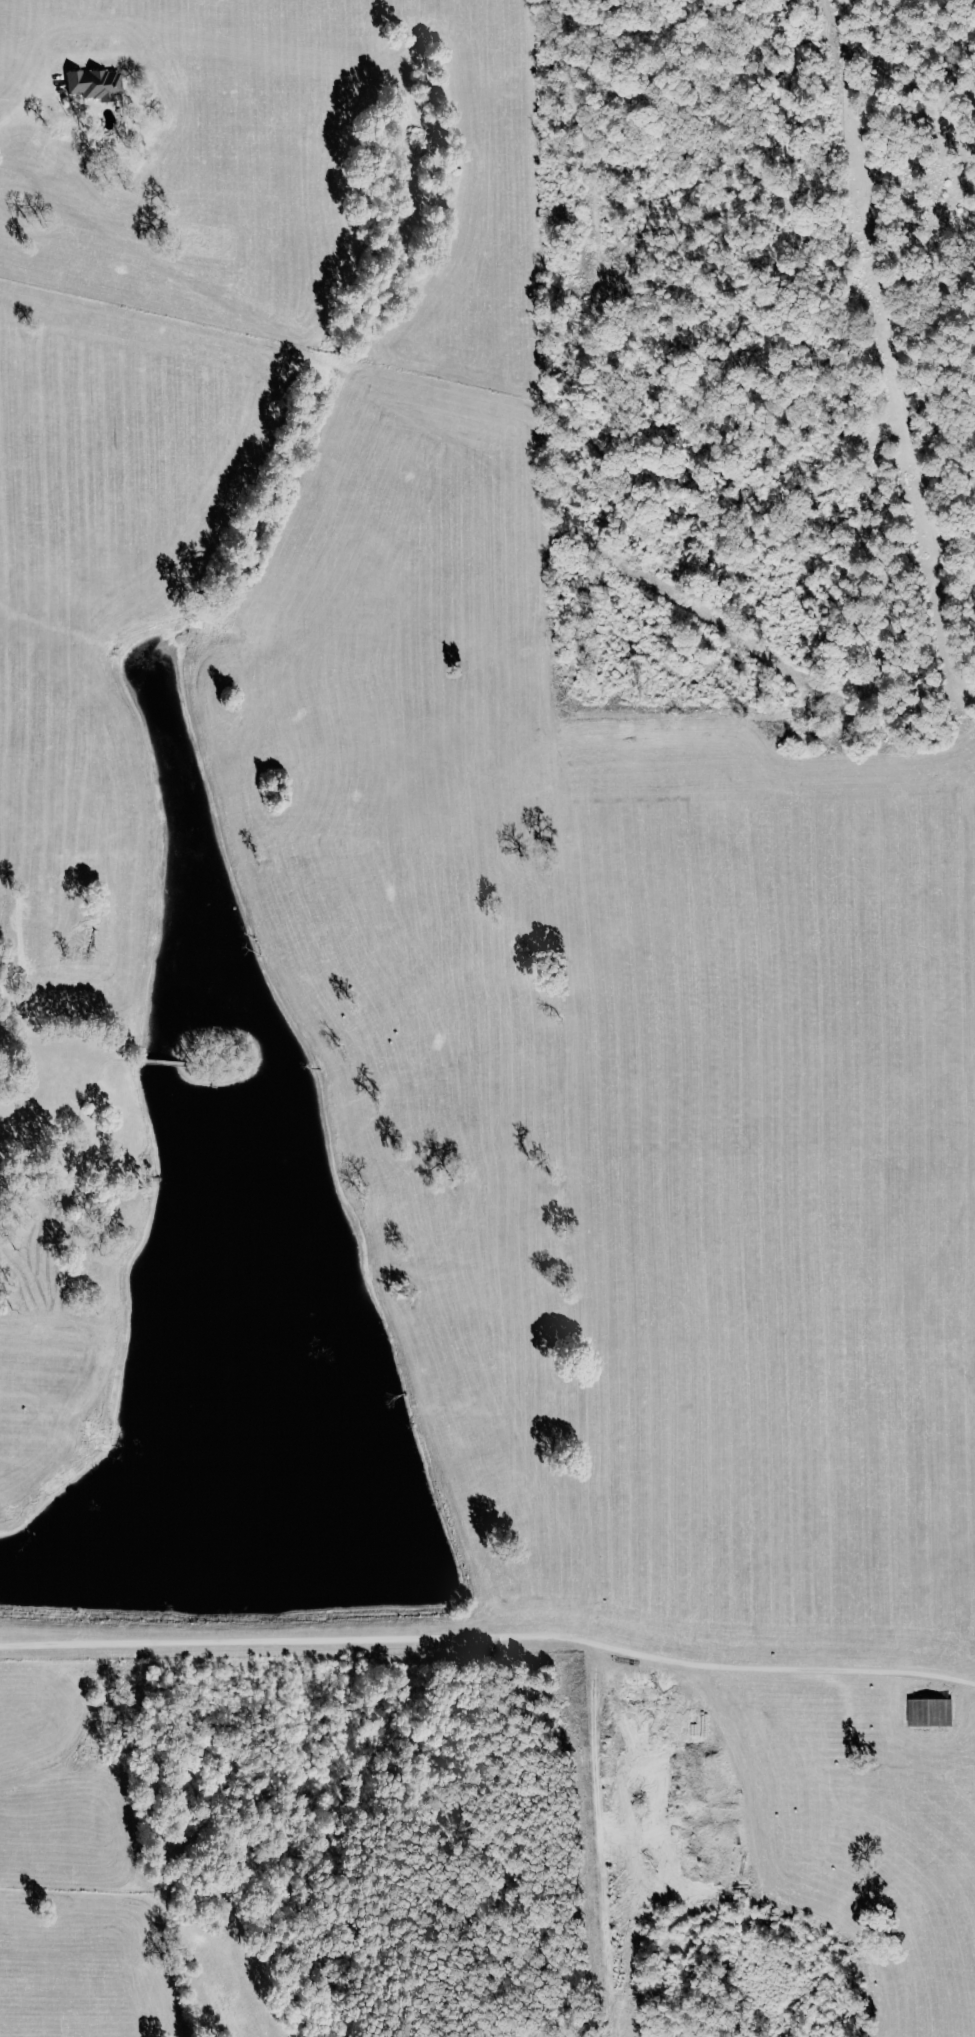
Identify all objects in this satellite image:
building: (97, 84)
road: (7, 121)
building: (932, 1713)

